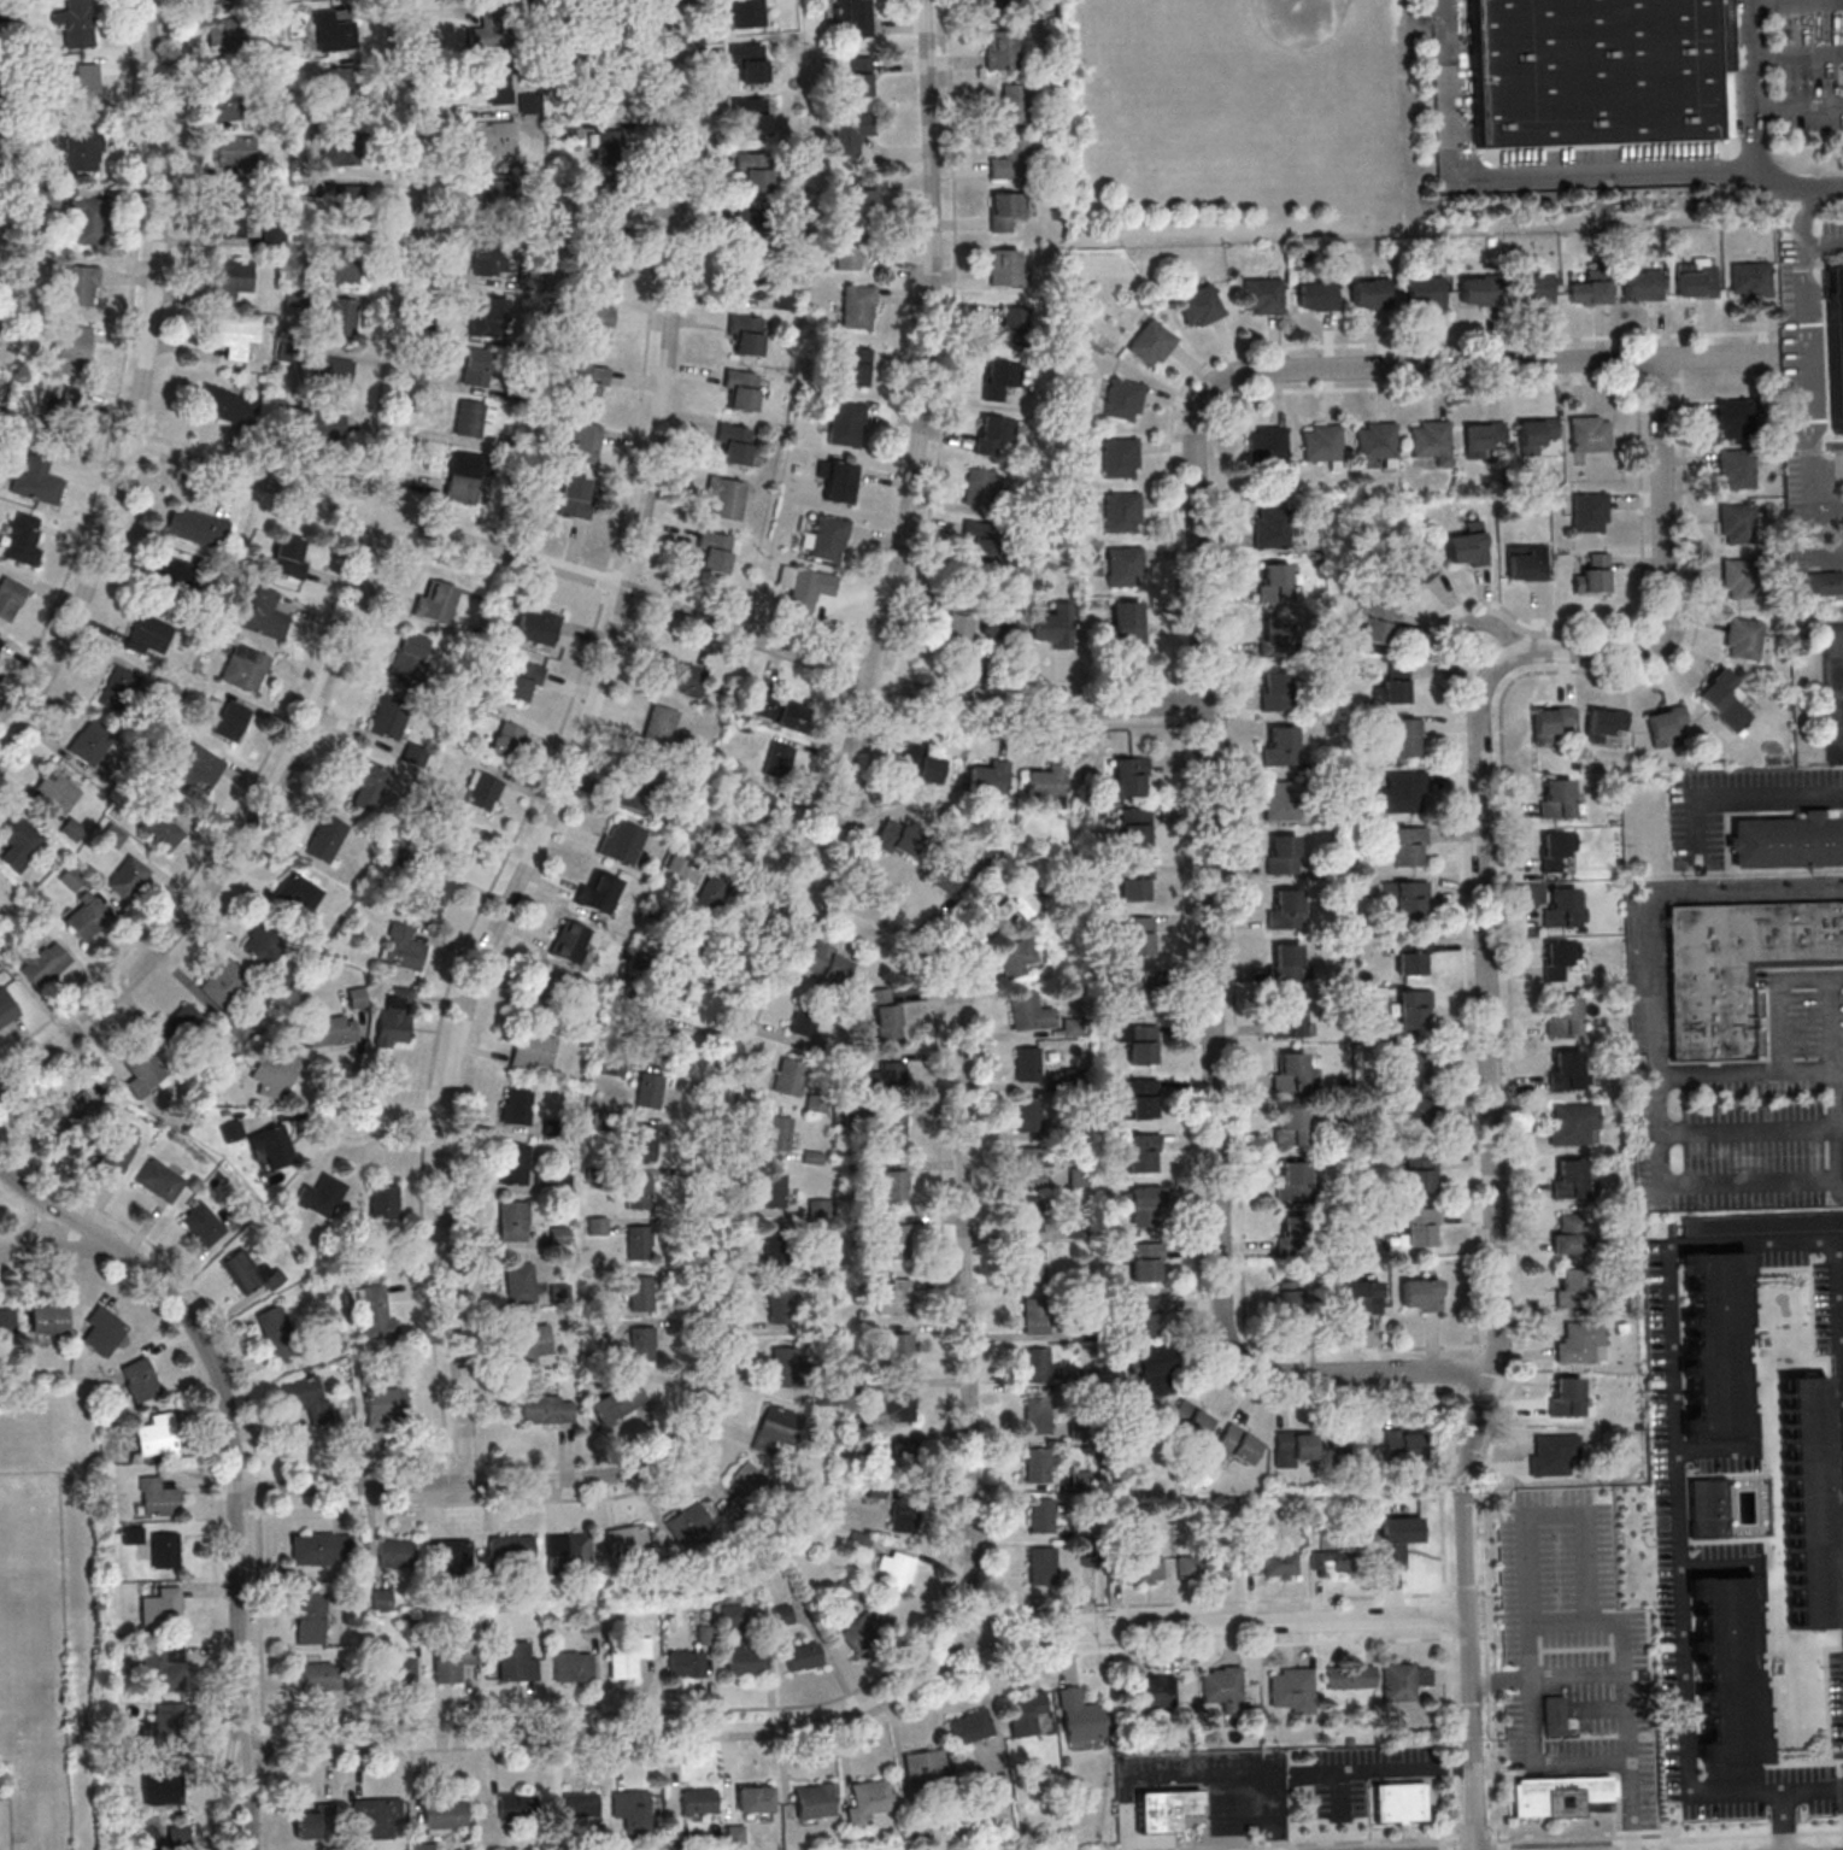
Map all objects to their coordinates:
building: (211, 1)
building: (1005, 7)
building: (746, 13)
building: (853, 16)
building: (76, 23)
building: (492, 27)
building: (334, 29)
building: (227, 37)
building: (1002, 48)
park: (1270, 51)
building: (608, 58)
building: (749, 60)
parking lot: (1807, 64)
building: (1589, 70)
building: (858, 76)
building: (492, 81)
building: (340, 87)
building: (229, 99)
road: (1797, 102)
building: (1013, 104)
building: (753, 113)
park: (1246, 121)
building: (851, 131)
road: (1753, 131)
building: (494, 142)
building: (339, 146)
building: (611, 147)
building: (236, 154)
building: (1013, 159)
building: (755, 169)
road: (1515, 176)
building: (493, 194)
building: (49, 195)
building: (858, 196)
building: (350, 205)
building: (610, 206)
building: (1005, 210)
building: (233, 219)
building: (756, 230)
parking lot: (1832, 234)
road: (1824, 242)
building: (610, 248)
building: (847, 249)
building: (339, 259)
building: (488, 259)
building: (1005, 266)
building: (1696, 277)
building: (1750, 277)
building: (233, 278)
building: (1643, 283)
building: (78, 286)
building: (1534, 287)
building: (1591, 288)
building: (750, 289)
building: (1479, 289)
building: (1425, 290)
building: (1370, 292)
building: (1317, 294)
building: (1263, 295)
building: (1201, 305)
building: (857, 306)
building: (340, 317)
building: (491, 317)
building: (595, 324)
building: (1009, 327)
building: (746, 334)
building: (233, 335)
building: (1836, 337)
building: (1152, 342)
building: (75, 347)
road: (1809, 362)
road: (1487, 363)
parking lot: (1791, 363)
building: (856, 365)
building: (476, 368)
building: (331, 375)
building: (1002, 378)
building: (589, 382)
road: (143, 387)
building: (741, 388)
building: (1123, 399)
building: (221, 403)
building: (470, 417)
building: (1735, 418)
building: (846, 423)
building: (318, 424)
building: (1538, 431)
building: (1590, 433)
building: (994, 434)
building: (1483, 437)
building: (1377, 440)
building: (1432, 440)
building: (585, 442)
building: (735, 442)
building: (1267, 444)
building: (1322, 444)
building: (1120, 457)
building: (1736, 468)
building: (463, 476)
building: (39, 480)
building: (840, 481)
building: (979, 487)
building: (575, 497)
building: (726, 497)
building: (1121, 510)
building: (1590, 511)
building: (1738, 523)
building: (196, 527)
building: (1268, 528)
building: (826, 539)
building: (980, 542)
building: (1468, 546)
building: (716, 551)
building: (288, 558)
building: (1527, 562)
building: (1125, 566)
building: (1413, 570)
building: (174, 572)
building: (1593, 574)
building: (1738, 577)
building: (1273, 581)
building: (1823, 583)
building: (805, 586)
building: (11, 598)
road: (665, 600)
building: (439, 601)
road: (356, 604)
building: (264, 615)
building: (957, 622)
building: (1378, 622)
building: (1127, 623)
building: (1055, 626)
building: (538, 627)
building: (1000, 632)
building: (1276, 635)
building: (0, 638)
building: (1744, 638)
building: (409, 657)
road: (1484, 659)
building: (245, 666)
building: (683, 677)
parking lot: (1830, 677)
building: (522, 679)
building: (118, 686)
building: (1393, 686)
road: (1838, 688)
building: (165, 689)
building: (1276, 689)
building: (1726, 699)
building: (777, 710)
building: (389, 716)
building: (231, 720)
building: (1551, 722)
building: (1606, 723)
building: (1667, 723)
building: (662, 726)
building: (1405, 736)
building: (507, 741)
building: (1279, 744)
road: (579, 748)
building: (415, 753)
building: (779, 758)
building: (920, 764)
building: (199, 768)
building: (1131, 776)
building: (988, 777)
building: (368, 781)
building: (1046, 783)
building: (642, 786)
building: (55, 791)
building: (482, 791)
building: (1402, 792)
building: (1557, 797)
road: (1760, 797)
building: (1279, 799)
building: (758, 803)
building: (163, 826)
building: (1134, 827)
building: (113, 834)
building: (327, 838)
building: (897, 839)
building: (19, 841)
building: (622, 841)
building: (1788, 841)
building: (458, 845)
building: (1409, 845)
building: (740, 848)
building: (1557, 852)
building: (1281, 854)
building: (945, 873)
building: (128, 876)
building: (72, 877)
building: (1132, 881)
building: (598, 891)
building: (433, 893)
building: (298, 894)
building: (710, 895)
building: (1408, 898)
building: (1000, 908)
building: (1566, 908)
building: (1285, 909)
building: (87, 915)
building: (1137, 935)
building: (260, 940)
building: (688, 940)
building: (570, 941)
road: (770, 942)
building: (404, 951)
building: (1016, 956)
building: (1410, 956)
building: (1559, 961)
building: (41, 962)
building: (828, 962)
building: (1285, 962)
building: (1735, 964)
building: (281, 979)
building: (224, 982)
building: (546, 988)
building: (1133, 991)
road: (1778, 991)
building: (670, 993)
building: (357, 996)
building: (7, 1008)
road: (1214, 1008)
building: (1032, 1009)
building: (1415, 1009)
building: (1565, 1016)
building: (805, 1017)
building: (1291, 1017)
building: (395, 1020)
building: (888, 1020)
road: (1831, 1023)
building: (178, 1024)
building: (334, 1029)
road: (1655, 1030)
building: (658, 1036)
road: (1492, 1036)
building: (1139, 1043)
building: (533, 1051)
building: (1027, 1063)
building: (1407, 1064)
building: (1567, 1069)
road: (1749, 1069)
building: (142, 1071)
building: (276, 1073)
building: (1293, 1073)
building: (890, 1074)
building: (790, 1076)
building: (648, 1090)
road: (1833, 1097)
building: (1139, 1098)
building: (72, 1106)
building: (517, 1106)
parking lot: (1753, 1112)
building: (1028, 1114)
road: (403, 1117)
building: (1414, 1118)
building: (1573, 1123)
building: (1291, 1126)
building: (231, 1130)
building: (779, 1132)
building: (893, 1132)
building: (641, 1141)
building: (274, 1144)
building: (117, 1150)
building: (1141, 1152)
road: (1837, 1156)
building: (1031, 1162)
building: (515, 1163)
building: (1420, 1171)
building: (1569, 1177)
building: (159, 1179)
building: (1292, 1180)
building: (896, 1186)
building: (773, 1190)
building: (638, 1191)
building: (321, 1196)
building: (385, 1200)
building: (1143, 1204)
building: (1029, 1215)
building: (513, 1220)
road: (967, 1221)
building: (203, 1223)
building: (598, 1224)
building: (1421, 1226)
building: (1291, 1235)
building: (639, 1241)
building: (898, 1241)
building: (779, 1249)
road: (58, 1250)
building: (1144, 1261)
building: (1033, 1263)
building: (251, 1271)
building: (521, 1284)
building: (1571, 1287)
building: (640, 1293)
building: (1421, 1294)
building: (1292, 1296)
building: (894, 1297)
building: (1361, 1297)
building: (780, 1304)
building: (374, 1311)
building: (1035, 1315)
building: (1143, 1315)
building: (48, 1319)
building: (5, 1320)
building: (101, 1329)
building: (276, 1329)
building: (642, 1343)
building: (1581, 1343)
building: (1714, 1344)
building: (533, 1345)
building: (899, 1349)
building: (785, 1366)
building: (1039, 1366)
building: (1155, 1370)
building: (139, 1379)
building: (1566, 1396)
building: (307, 1397)
building: (617, 1402)
building: (900, 1403)
building: (386, 1406)
building: (547, 1408)
building: (1037, 1415)
building: (1190, 1420)
building: (774, 1428)
building: (1078, 1431)
building: (154, 1438)
road: (253, 1438)
building: (1238, 1444)
building: (1404, 1444)
building: (1292, 1447)
building: (1349, 1447)
building: (1554, 1452)
road: (235, 1455)
building: (904, 1457)
building: (1037, 1464)
road: (1677, 1473)
building: (1080, 1480)
building: (749, 1490)
building: (157, 1497)
building: (1809, 1502)
building: (1709, 1509)
building: (1040, 1514)
building: (903, 1517)
building: (688, 1523)
building: (131, 1534)
building: (1397, 1539)
building: (628, 1541)
building: (858, 1541)
building: (1509, 1547)
building: (165, 1549)
building: (322, 1549)
building: (510, 1549)
building: (569, 1550)
building: (395, 1552)
building: (451, 1554)
road: (1587, 1558)
building: (1333, 1560)
building: (1270, 1563)
building: (1041, 1564)
building: (1203, 1566)
building: (1139, 1567)
building: (894, 1569)
building: (844, 1591)
building: (381, 1599)
building: (162, 1604)
building: (310, 1617)
building: (732, 1617)
road: (1560, 1623)
building: (859, 1632)
building: (627, 1655)
building: (802, 1656)
building: (517, 1660)
building: (745, 1660)
building: (454, 1661)
building: (686, 1663)
building: (573, 1666)
building: (1726, 1667)
building: (163, 1668)
building: (401, 1670)
building: (319, 1675)
building: (1350, 1675)
building: (1404, 1680)
building: (1222, 1686)
building: (1155, 1687)
building: (1291, 1689)
road: (870, 1711)
building: (1025, 1713)
building: (1554, 1715)
building: (1080, 1716)
building: (163, 1723)
building: (969, 1727)
road: (1540, 1763)
building: (925, 1766)
road: (1386, 1766)
building: (997, 1787)
building: (162, 1790)
building: (1562, 1795)
building: (753, 1798)
building: (868, 1798)
building: (699, 1799)
building: (814, 1799)
building: (1399, 1802)
building: (515, 1804)
building: (580, 1805)
building: (1164, 1809)
building: (633, 1810)
building: (376, 1816)
building: (445, 1816)
building: (316, 1821)
road: (1785, 1821)
building: (735, 1833)
building: (676, 1834)
building: (177, 1836)
road: (1613, 1840)
building: (422, 1845)

